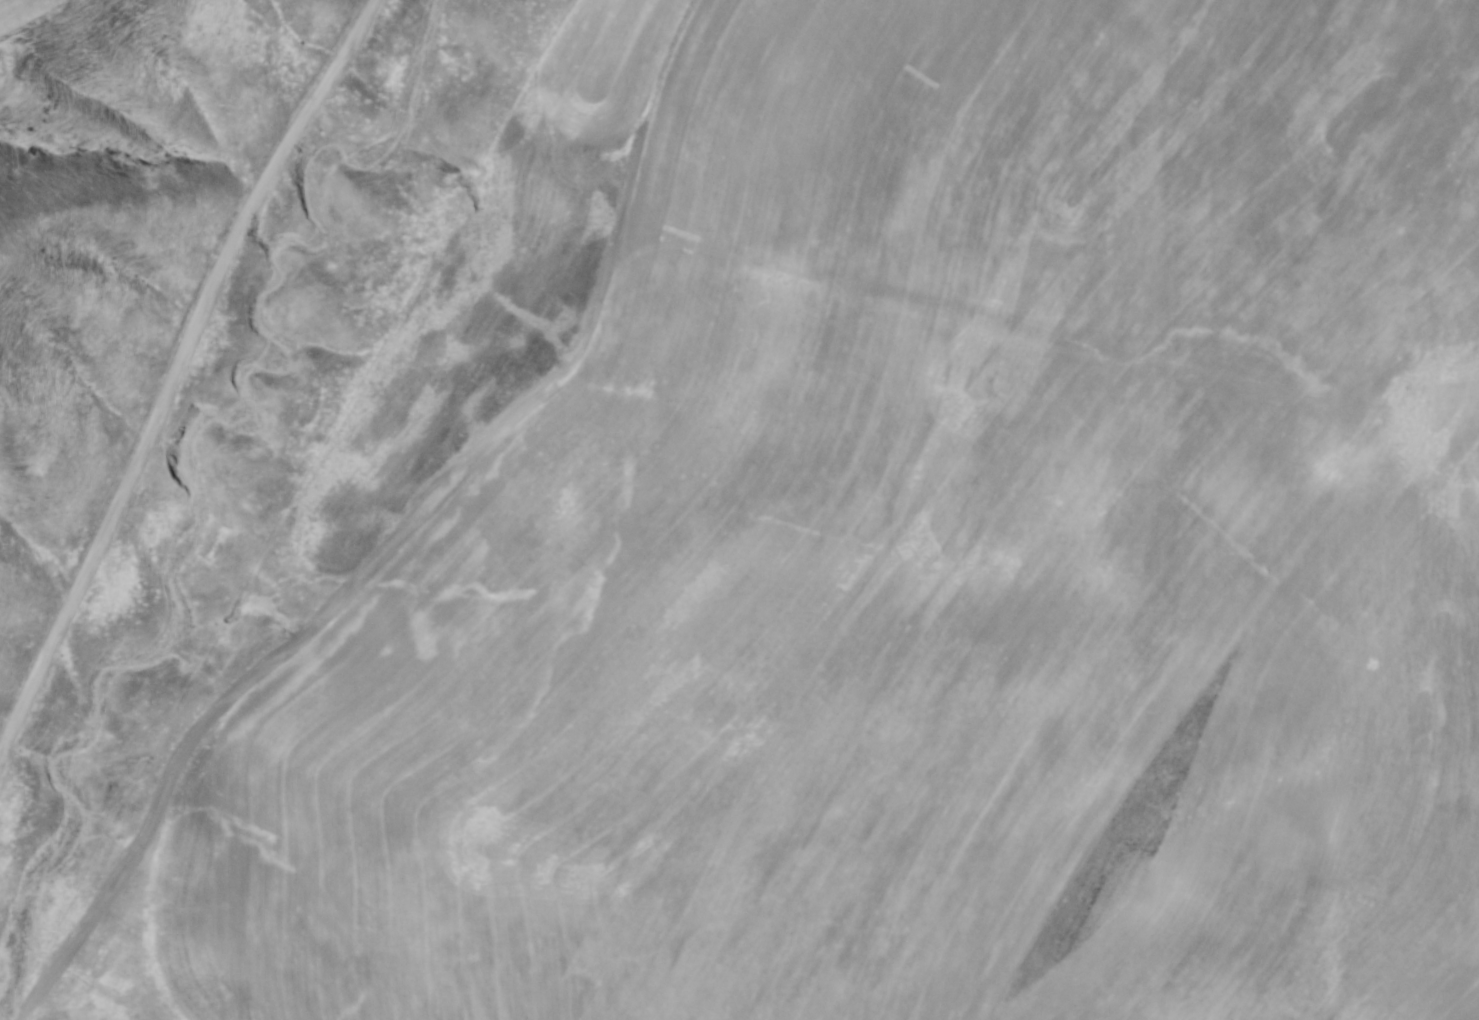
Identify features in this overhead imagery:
road: (172, 370)
road: (418, 537)

